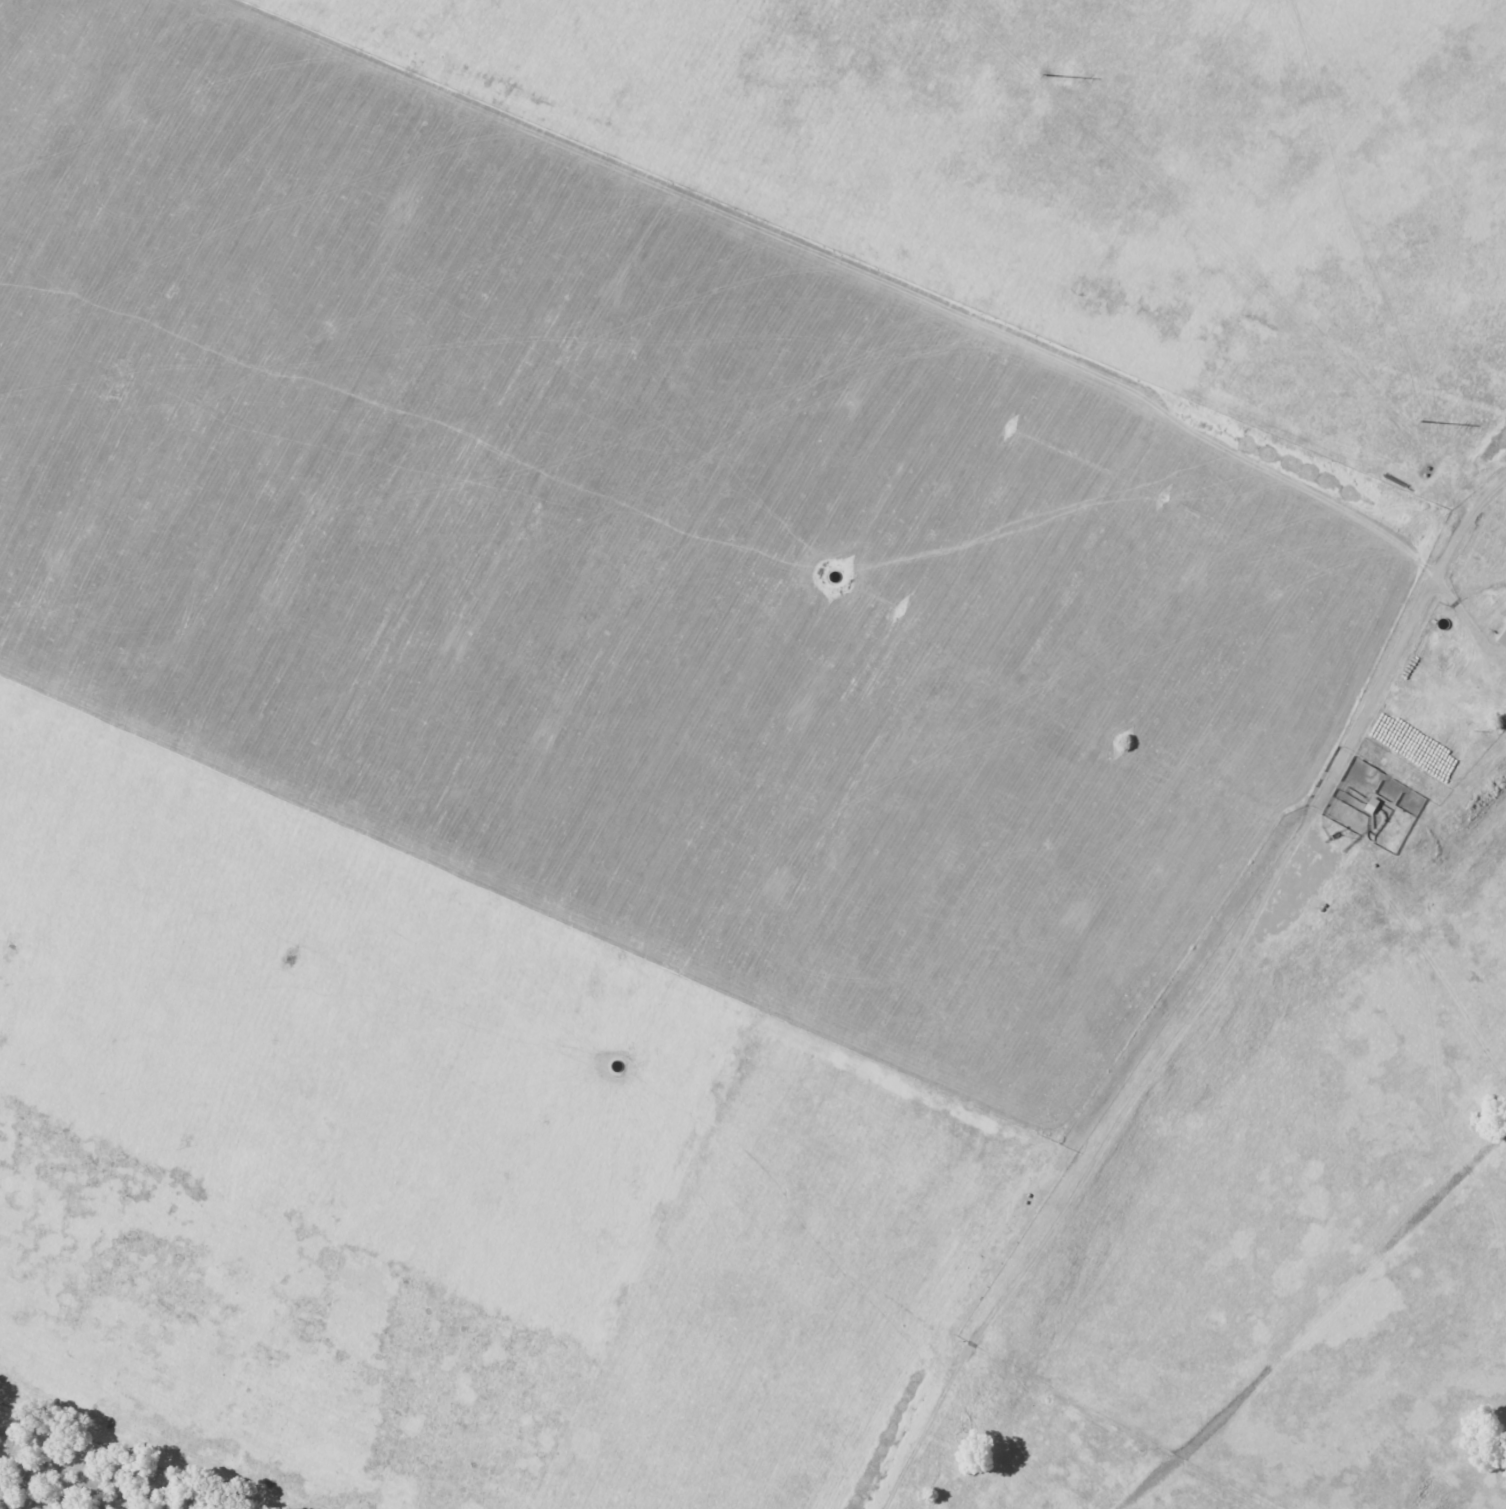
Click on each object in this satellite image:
power tower: (1043, 71)
power tower: (1419, 418)
road: (1458, 530)

